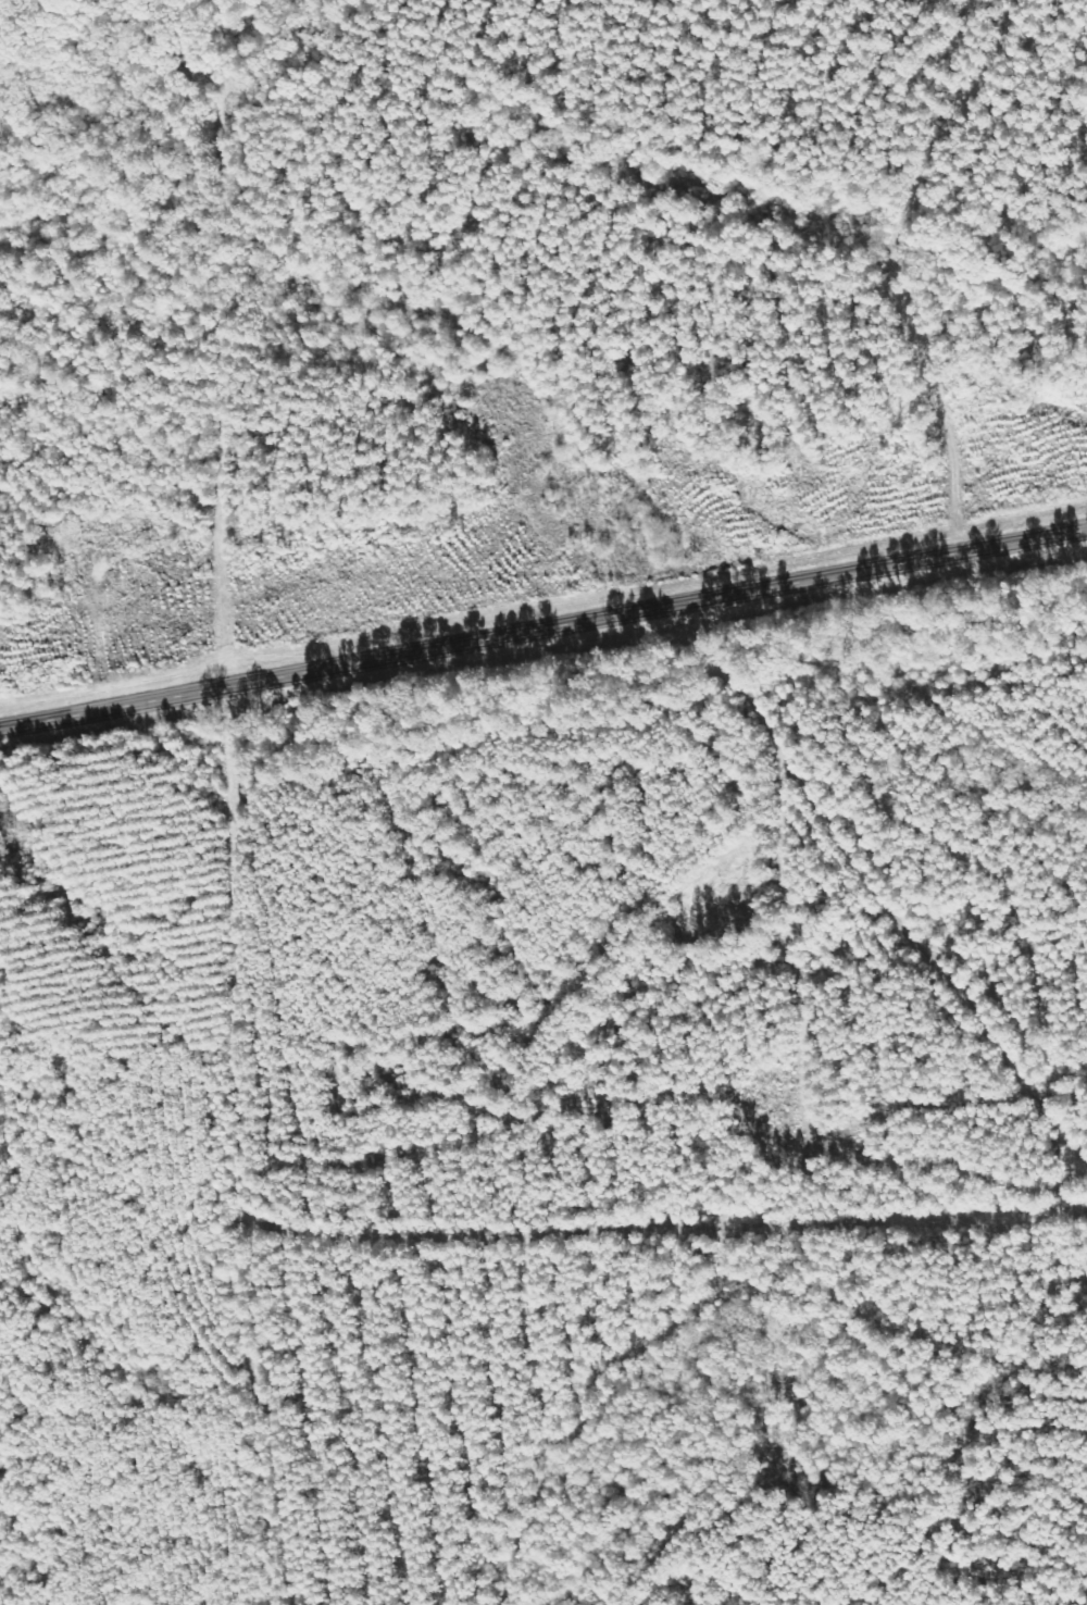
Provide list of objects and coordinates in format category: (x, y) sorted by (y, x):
road: (543, 626)

